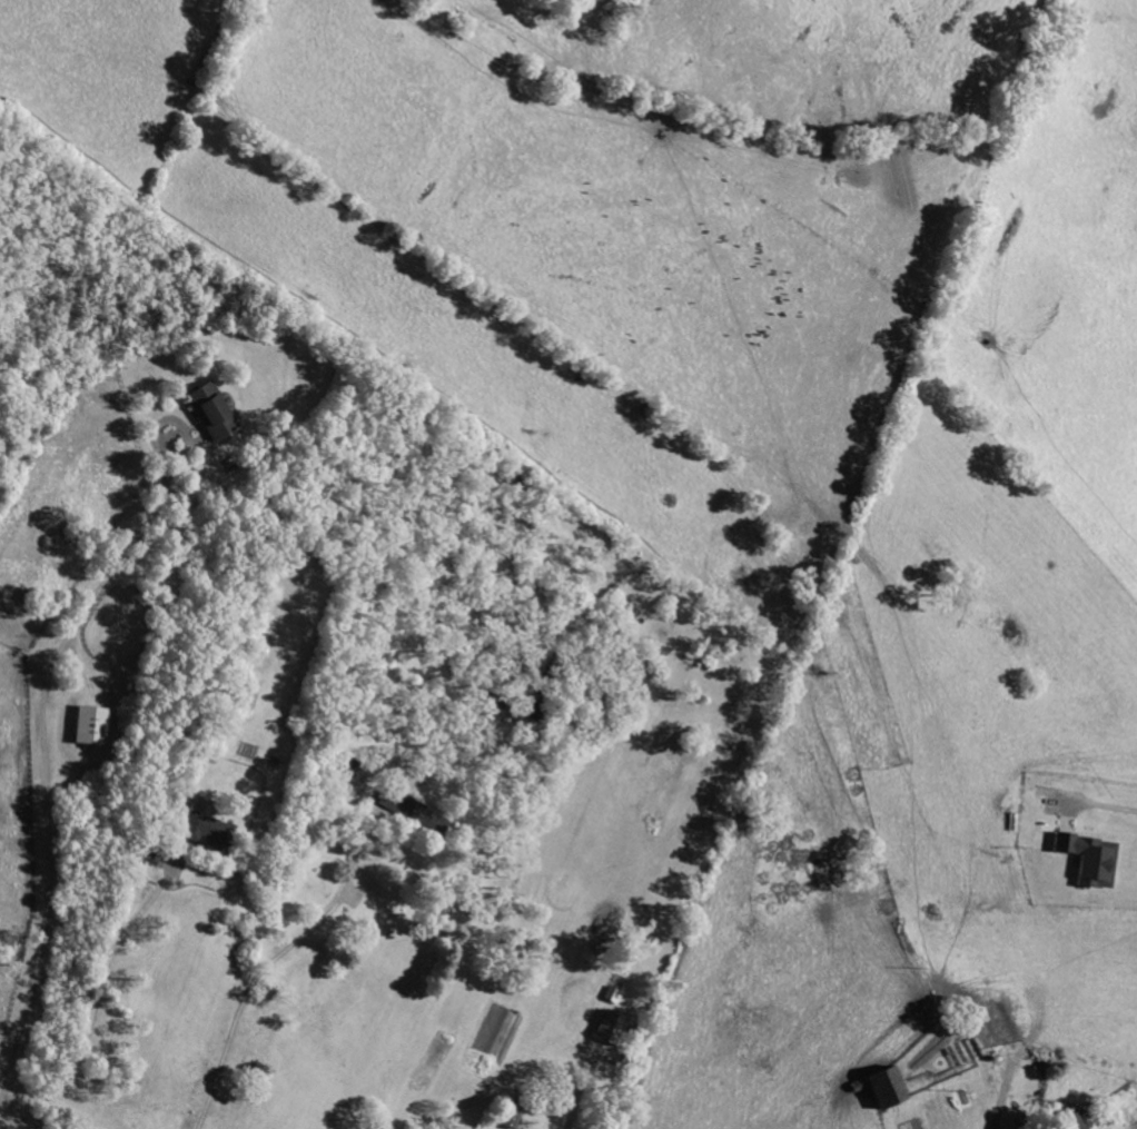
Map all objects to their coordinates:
building: (208, 410)
road: (42, 750)
building: (414, 812)
road: (1110, 818)
building: (207, 832)
building: (1088, 859)
road: (264, 967)
road: (98, 994)
building: (998, 1022)
building: (609, 1028)
building: (881, 1088)
road: (1005, 1099)
building: (511, 1118)
building: (1068, 1120)
road: (10, 1123)

